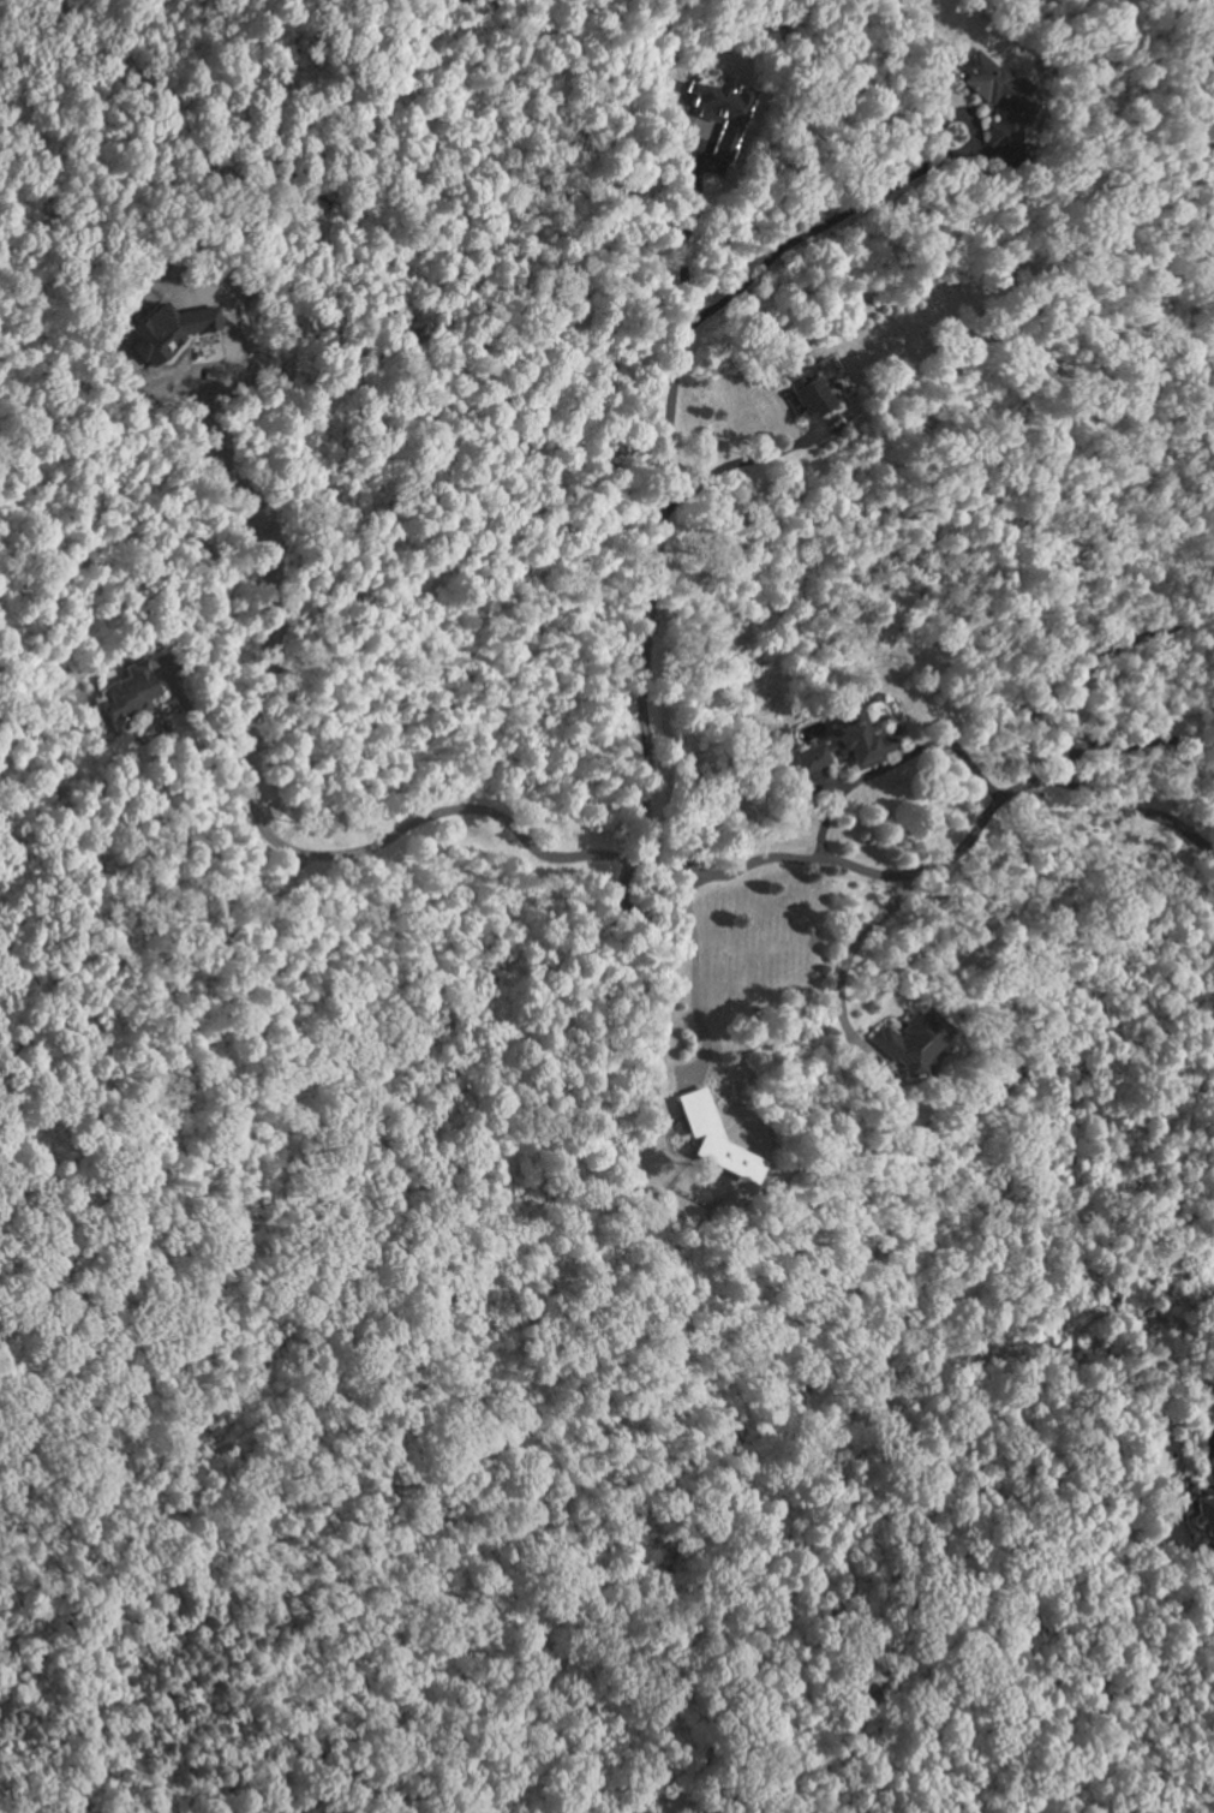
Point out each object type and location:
building: (1000, 97)
building: (719, 115)
road: (681, 246)
building: (172, 336)
building: (805, 395)
road: (664, 454)
road: (722, 466)
road: (261, 550)
road: (1095, 655)
building: (125, 692)
road: (1143, 740)
road: (895, 753)
road: (403, 825)
road: (971, 834)
road: (627, 891)
road: (845, 950)
road: (690, 990)
building: (910, 1040)
building: (712, 1138)
building: (1198, 1514)

